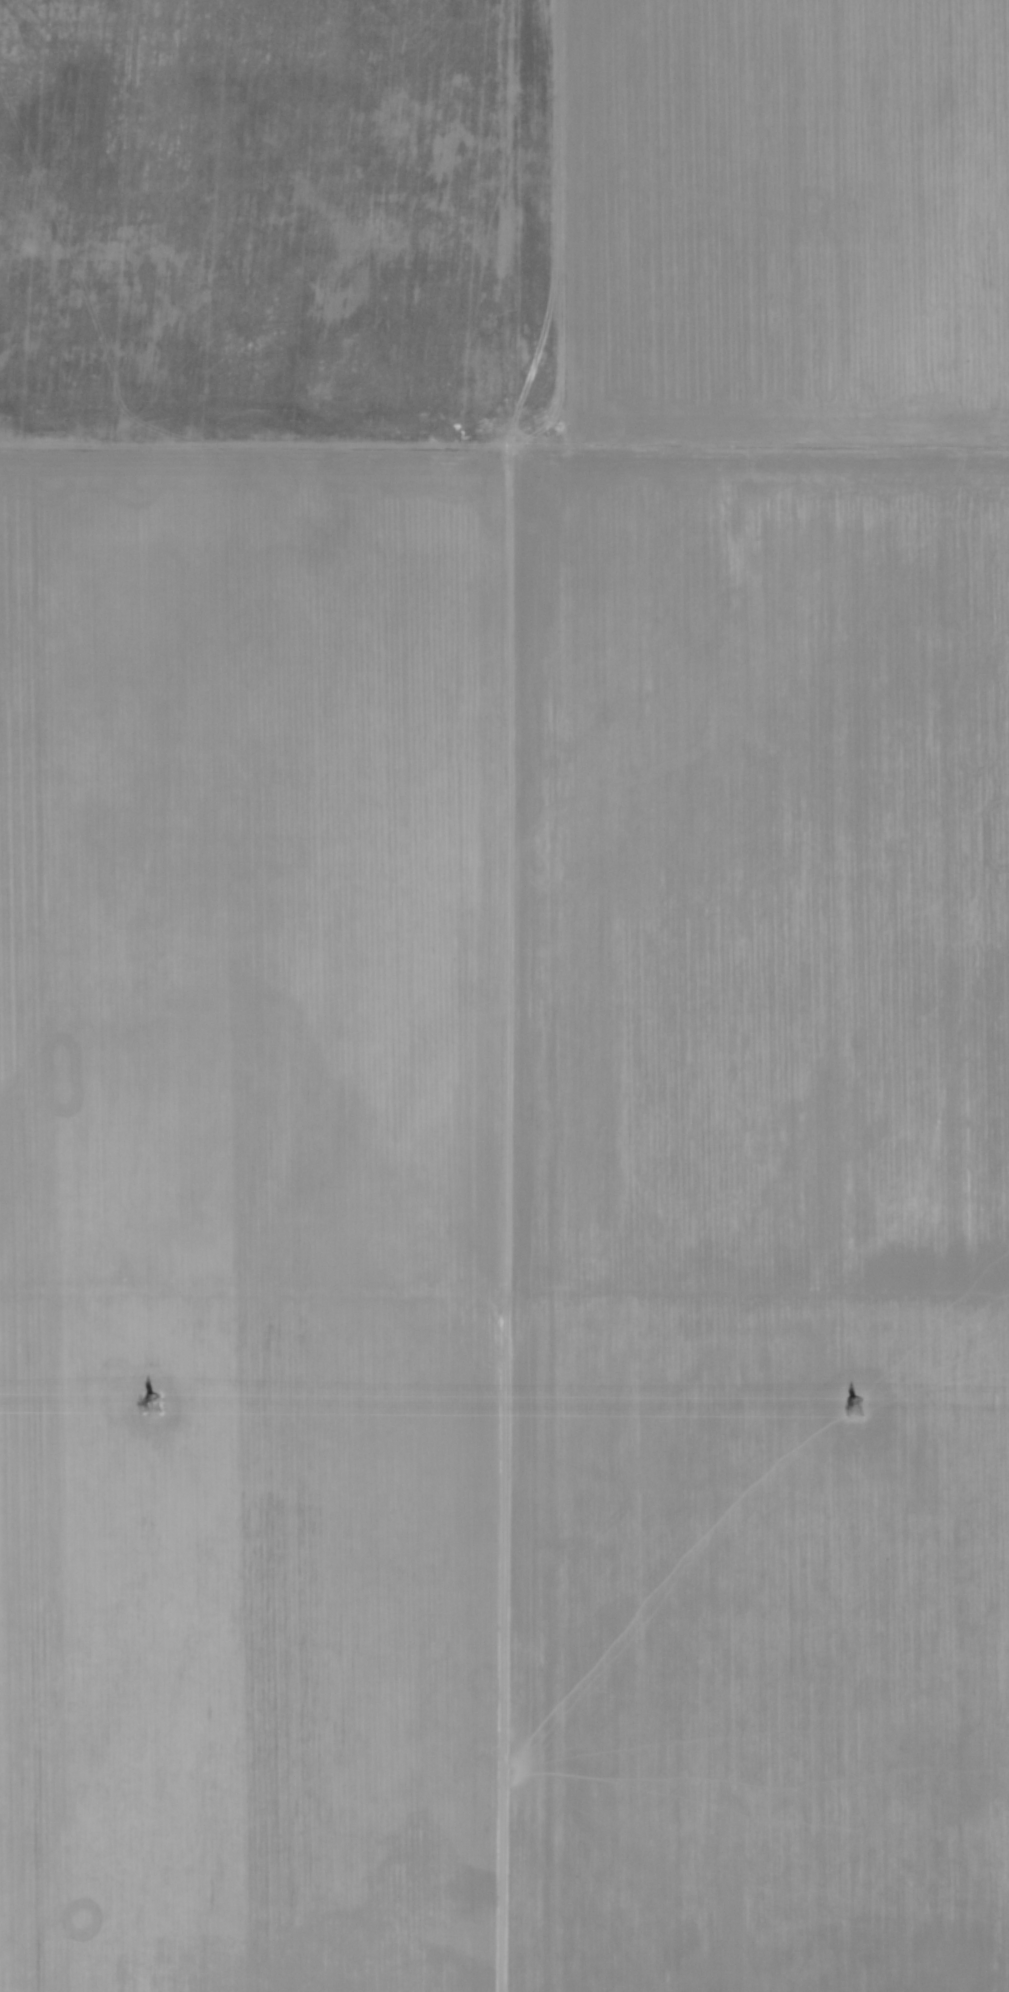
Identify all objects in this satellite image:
road: (579, 995)
power tower: (152, 1404)
power tower: (853, 1407)

